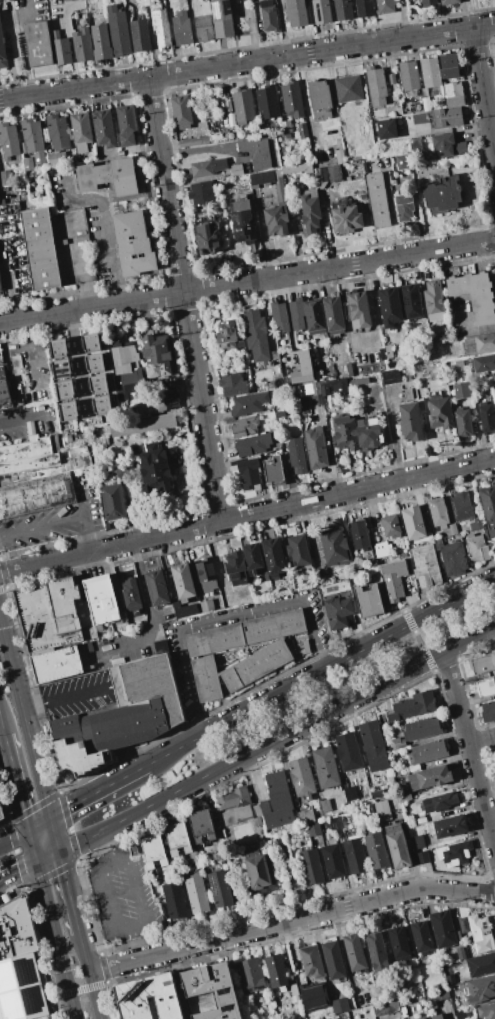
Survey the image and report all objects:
building: (68, 0)
building: (449, 1)
building: (148, 2)
building: (428, 3)
building: (385, 6)
building: (364, 8)
building: (343, 10)
building: (321, 11)
building: (297, 13)
building: (268, 16)
building: (221, 18)
building: (161, 28)
building: (181, 28)
building: (203, 28)
building: (118, 31)
building: (140, 35)
building: (101, 42)
building: (38, 43)
building: (82, 45)
road: (22, 47)
building: (60, 48)
building: (2, 51)
road: (247, 63)
building: (449, 68)
building: (430, 72)
building: (408, 75)
building: (391, 79)
building: (376, 85)
building: (348, 89)
building: (452, 89)
road: (484, 94)
building: (292, 99)
building: (320, 100)
building: (455, 101)
building: (267, 102)
road: (304, 102)
building: (426, 104)
building: (243, 105)
building: (404, 106)
building: (182, 110)
building: (398, 110)
building: (420, 118)
building: (445, 120)
building: (126, 125)
road: (320, 125)
building: (285, 126)
building: (104, 128)
building: (302, 129)
building: (386, 129)
building: (81, 131)
building: (57, 132)
building: (8, 140)
building: (32, 140)
building: (193, 141)
building: (451, 145)
building: (256, 151)
building: (56, 158)
building: (403, 162)
building: (28, 164)
building: (207, 167)
building: (236, 169)
building: (298, 169)
building: (327, 175)
building: (92, 176)
building: (123, 177)
building: (261, 177)
building: (279, 180)
building: (279, 190)
building: (201, 193)
building: (441, 196)
building: (378, 200)
building: (404, 208)
building: (309, 209)
road: (392, 212)
building: (276, 218)
road: (102, 219)
building: (345, 219)
building: (244, 223)
building: (209, 239)
building: (133, 244)
building: (40, 249)
road: (73, 264)
road: (247, 281)
building: (0, 287)
building: (475, 295)
building: (433, 297)
road: (185, 299)
building: (411, 301)
building: (389, 306)
road: (373, 307)
building: (358, 310)
building: (333, 314)
building: (288, 315)
building: (314, 317)
road: (469, 331)
building: (256, 335)
building: (228, 336)
building: (91, 342)
building: (479, 344)
building: (57, 348)
road: (31, 353)
building: (156, 355)
building: (125, 358)
building: (15, 361)
building: (95, 363)
building: (458, 363)
building: (484, 363)
building: (276, 364)
building: (391, 364)
building: (61, 369)
building: (345, 371)
building: (390, 376)
building: (302, 378)
building: (493, 380)
building: (98, 384)
building: (233, 385)
building: (4, 386)
building: (326, 388)
building: (64, 390)
building: (461, 390)
building: (373, 395)
building: (164, 399)
building: (316, 400)
building: (248, 403)
building: (102, 405)
building: (142, 410)
building: (68, 411)
building: (440, 413)
building: (280, 414)
road: (30, 415)
building: (487, 418)
building: (410, 422)
building: (463, 423)
building: (143, 425)
building: (244, 426)
building: (343, 433)
building: (369, 435)
building: (252, 444)
building: (315, 447)
building: (296, 456)
building: (273, 469)
building: (155, 471)
building: (249, 473)
building: (38, 475)
building: (112, 502)
building: (462, 505)
building: (488, 508)
building: (438, 512)
road: (247, 515)
road: (60, 522)
building: (413, 523)
parking lot: (50, 525)
building: (390, 525)
building: (450, 531)
building: (358, 534)
building: (335, 547)
building: (477, 548)
building: (381, 549)
building: (298, 550)
building: (273, 557)
building: (252, 558)
building: (401, 559)
building: (453, 559)
building: (425, 566)
building: (236, 568)
building: (207, 575)
building: (182, 581)
building: (392, 585)
building: (156, 587)
building: (130, 595)
building: (102, 598)
building: (368, 601)
building: (206, 605)
road: (148, 607)
building: (337, 613)
building: (49, 614)
road: (224, 617)
building: (245, 633)
road: (419, 641)
building: (159, 646)
building: (305, 649)
building: (56, 664)
building: (483, 664)
building: (255, 665)
road: (320, 672)
building: (206, 679)
building: (486, 687)
parking lot: (75, 695)
road: (67, 696)
building: (412, 706)
building: (488, 711)
building: (121, 715)
road: (25, 720)
road: (2, 725)
road: (295, 727)
building: (422, 729)
road: (482, 740)
building: (396, 744)
building: (373, 746)
road: (470, 749)
building: (348, 751)
building: (427, 751)
building: (494, 751)
building: (325, 767)
building: (429, 777)
building: (301, 778)
road: (16, 783)
road: (97, 791)
building: (350, 793)
building: (378, 794)
building: (404, 794)
building: (233, 799)
building: (276, 802)
building: (438, 802)
building: (325, 806)
building: (257, 811)
building: (382, 811)
building: (1, 812)
building: (237, 816)
building: (306, 817)
traffic signals: (50, 818)
building: (1, 819)
building: (257, 821)
road: (39, 824)
building: (450, 826)
building: (202, 829)
building: (314, 829)
traffic signals: (29, 831)
road: (54, 835)
building: (177, 838)
road: (14, 840)
building: (417, 842)
road: (76, 843)
building: (397, 845)
road: (33, 846)
road: (102, 847)
building: (376, 849)
building: (153, 851)
traffic signals: (58, 853)
building: (455, 853)
building: (355, 855)
building: (219, 856)
road: (47, 857)
building: (422, 857)
building: (332, 858)
traffic signals: (37, 862)
building: (311, 867)
building: (259, 870)
road: (18, 871)
building: (220, 889)
road: (68, 892)
building: (197, 894)
parking lot: (122, 897)
building: (174, 900)
road: (290, 921)
road: (133, 925)
building: (463, 925)
building: (443, 929)
building: (481, 933)
building: (421, 937)
road: (57, 940)
building: (399, 944)
road: (341, 948)
building: (376, 951)
building: (354, 952)
building: (460, 953)
building: (333, 960)
building: (311, 961)
building: (19, 963)
building: (481, 964)
building: (276, 970)
road: (89, 975)
building: (250, 975)
building: (453, 979)
road: (81, 989)
building: (213, 990)
building: (481, 990)
building: (394, 993)
building: (313, 996)
building: (436, 997)
building: (149, 998)
building: (339, 1005)
building: (385, 1007)
building: (486, 1011)
building: (468, 1012)
building: (459, 1015)
building: (437, 1017)
building: (421, 1018)

